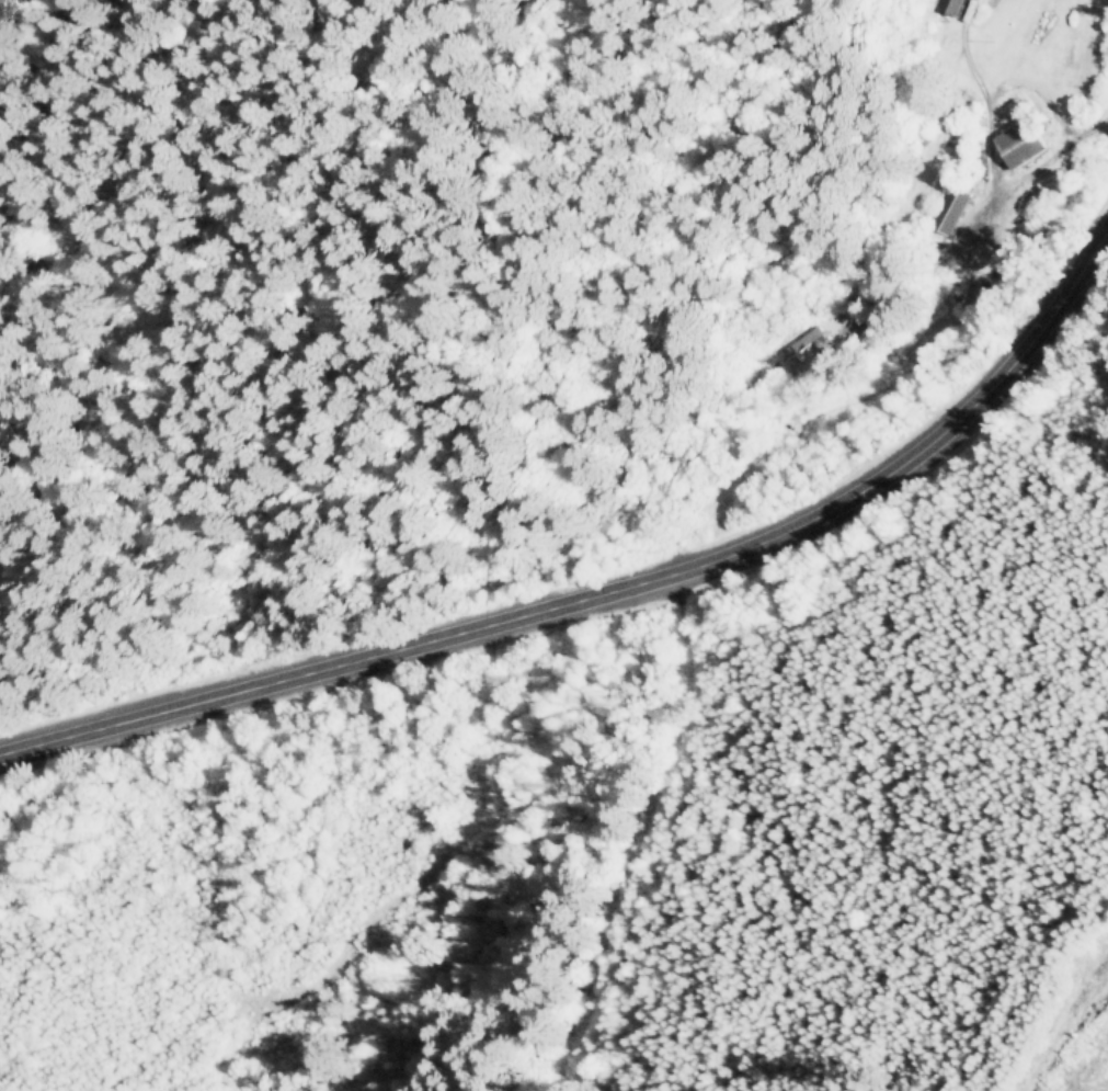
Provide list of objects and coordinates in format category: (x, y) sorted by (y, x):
road: (1106, 1)
building: (952, 5)
road: (981, 90)
road: (1037, 90)
building: (1017, 141)
road: (991, 196)
building: (952, 203)
road: (602, 586)
road: (592, 836)
crop: (263, 856)

